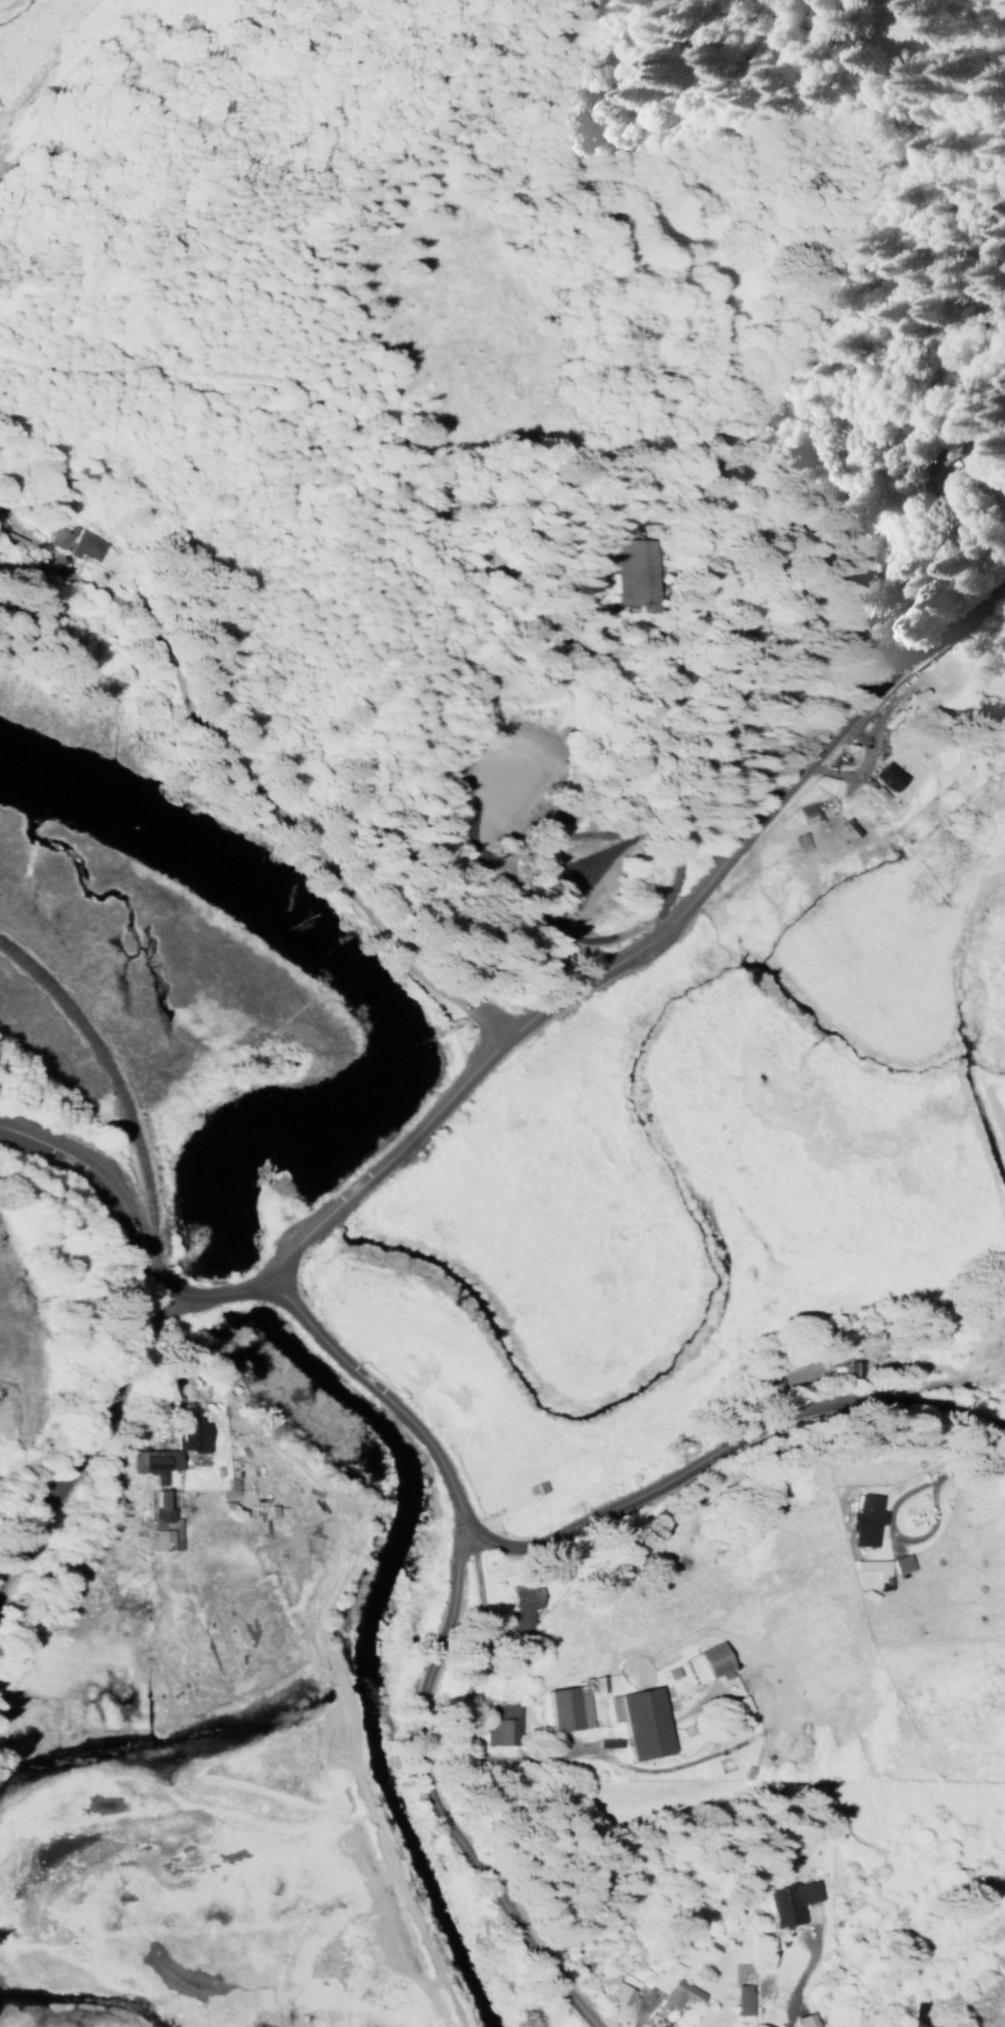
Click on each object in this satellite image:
road: (982, 450)
building: (923, 467)
road: (754, 519)
building: (58, 539)
building: (10, 543)
building: (86, 548)
building: (639, 572)
building: (920, 701)
road: (262, 772)
building: (888, 777)
road: (754, 800)
building: (805, 815)
river: (350, 975)
road: (387, 1161)
road: (122, 1208)
railway: (149, 1258)
road: (260, 1289)
road: (234, 1293)
road: (4, 1317)
road: (15, 1364)
road: (382, 1399)
building: (191, 1436)
road: (727, 1446)
building: (154, 1466)
road: (953, 1469)
building: (534, 1490)
building: (163, 1525)
building: (869, 1525)
building: (900, 1566)
building: (872, 1569)
building: (522, 1611)
building: (706, 1665)
building: (597, 1686)
building: (740, 1707)
building: (566, 1711)
building: (640, 1725)
building: (500, 1727)
road: (434, 1800)
building: (789, 1902)
building: (671, 1989)
building: (618, 1994)
building: (804, 2021)

